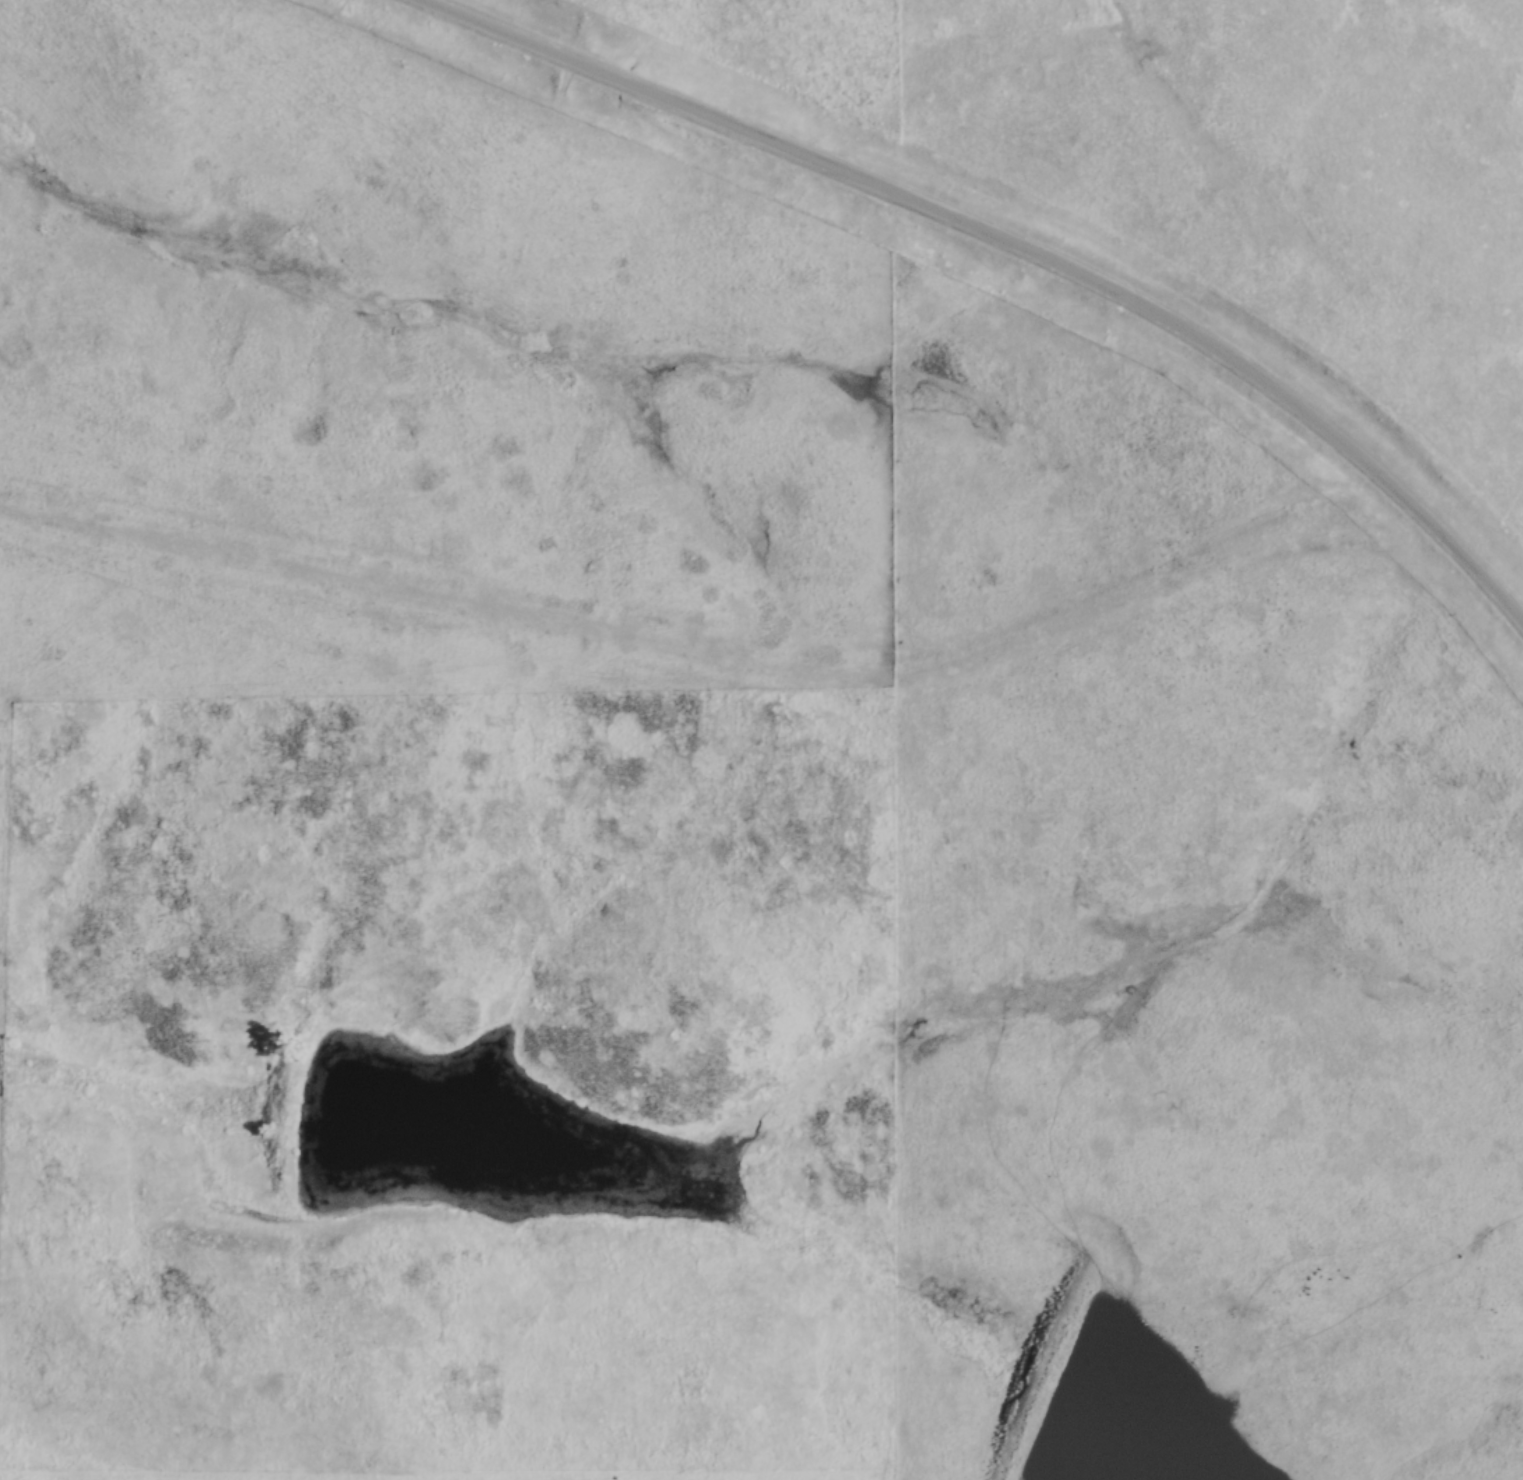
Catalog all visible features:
road: (1016, 248)

